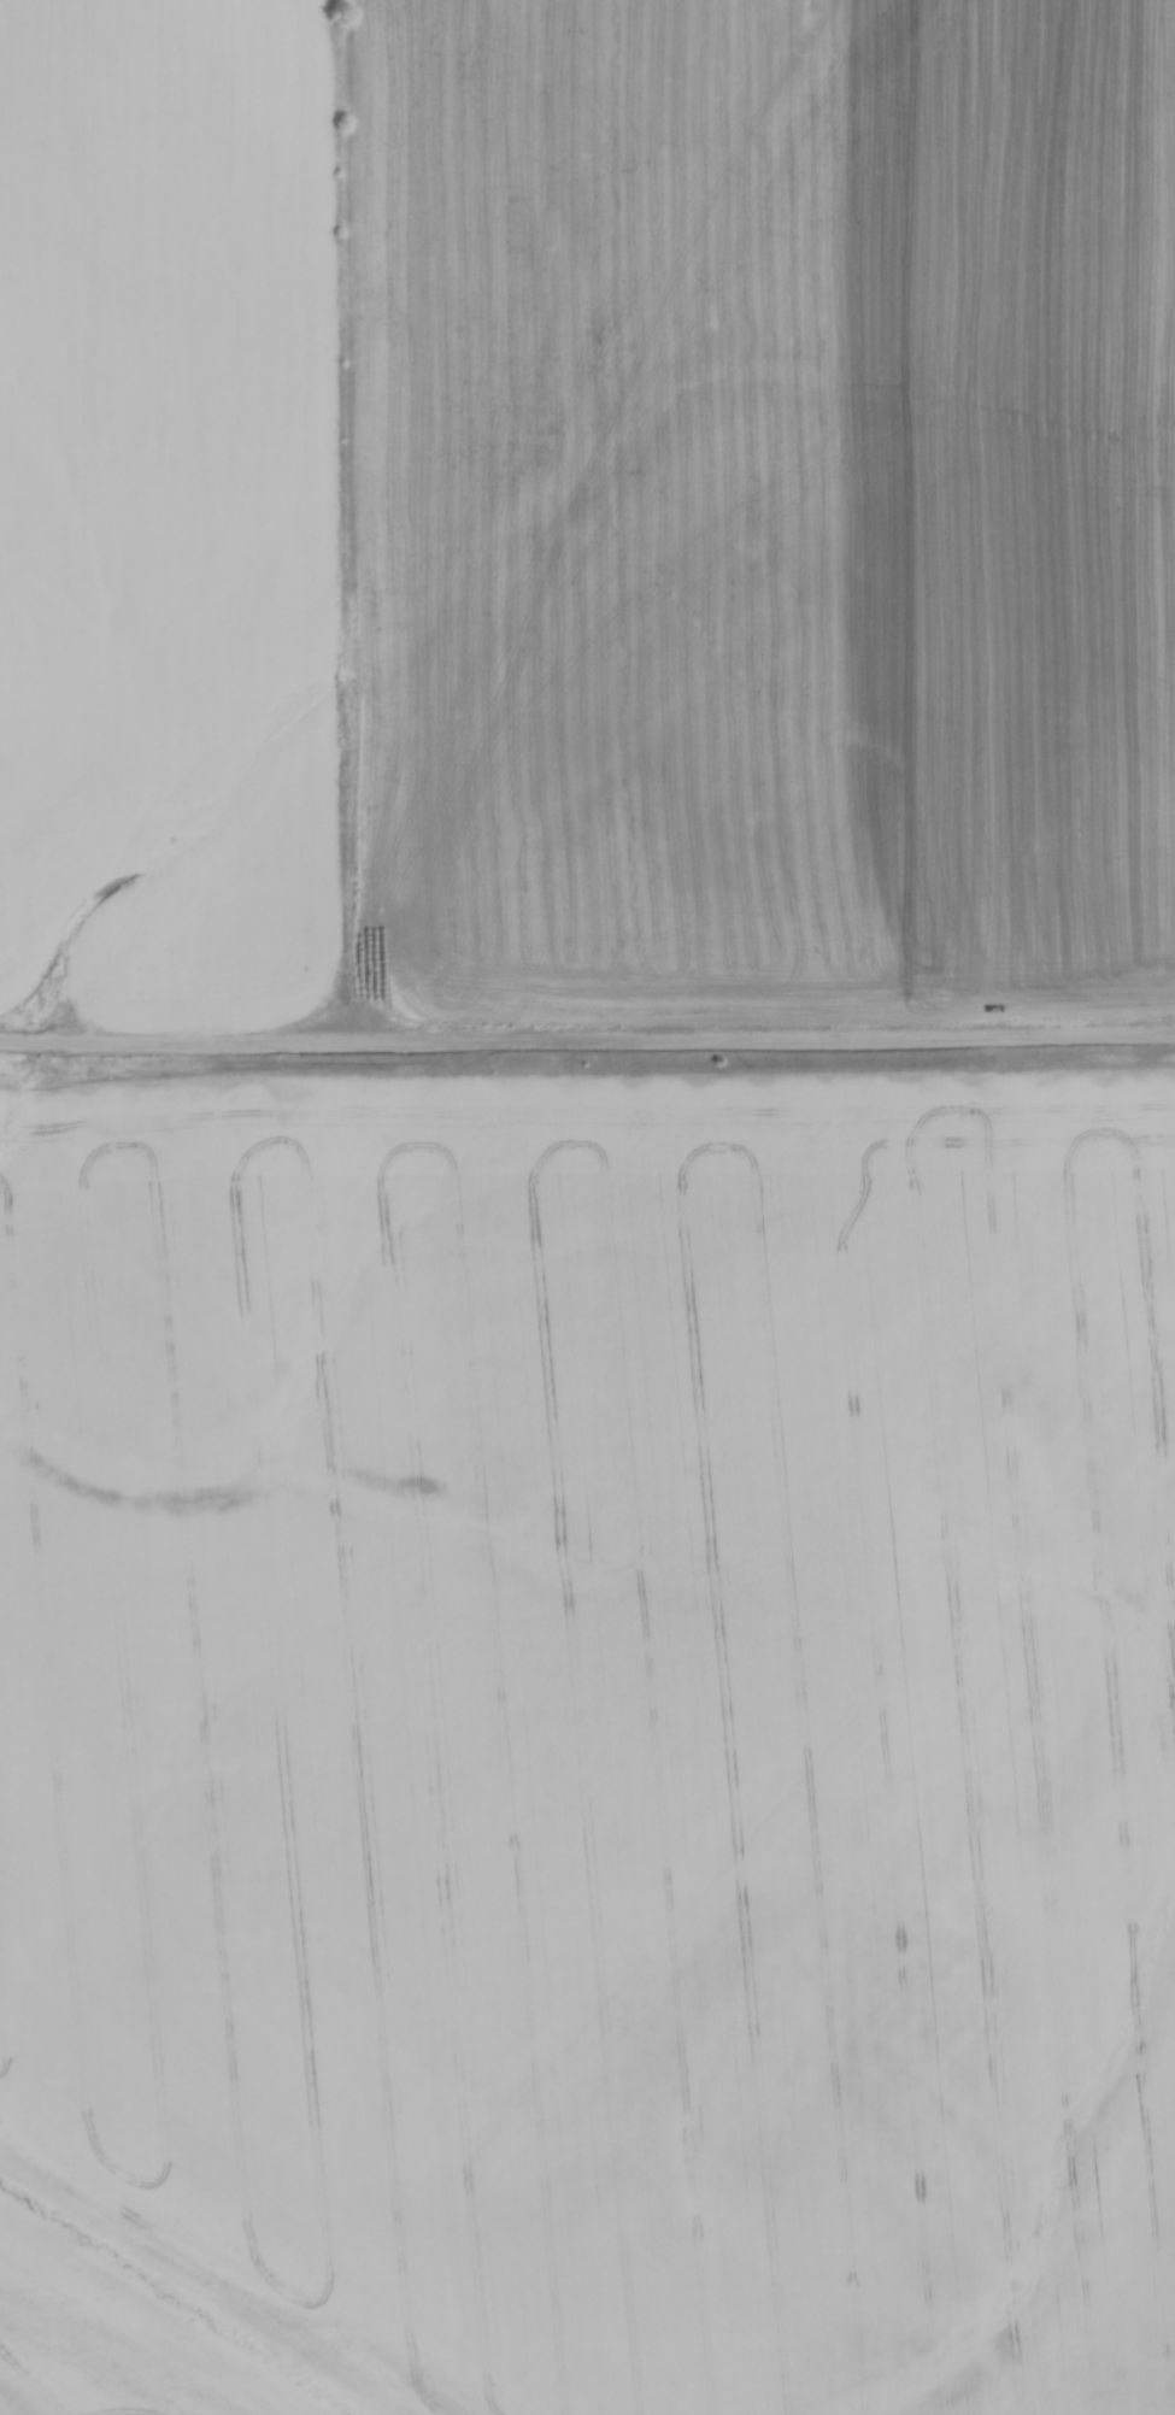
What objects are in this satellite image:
road: (587, 1048)

